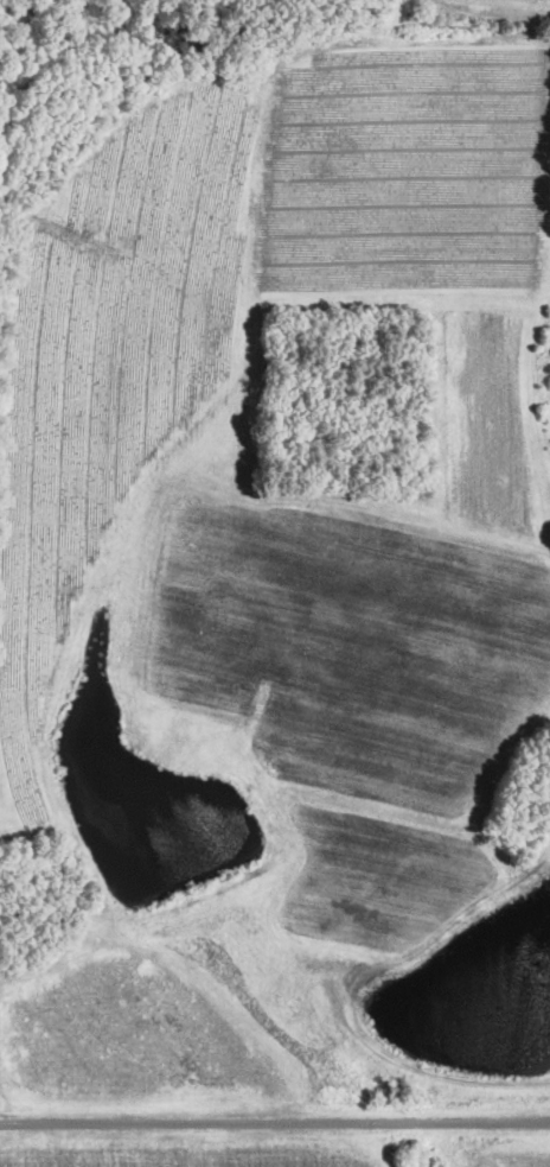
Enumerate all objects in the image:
road: (275, 1127)

